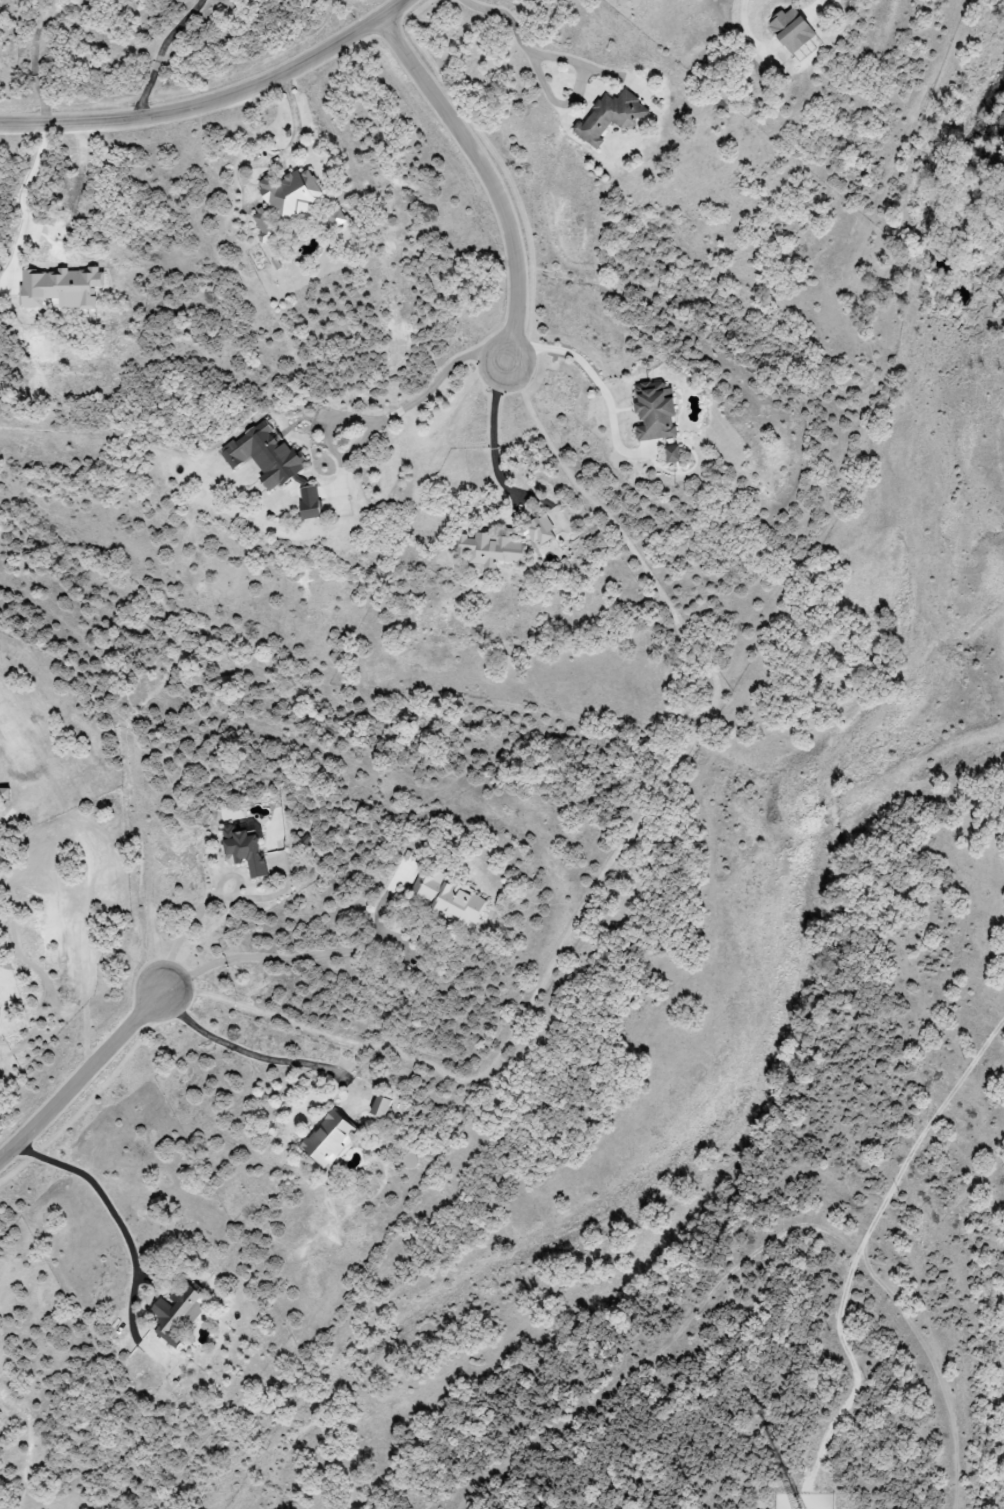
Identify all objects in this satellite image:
road: (815, 9)
road: (502, 18)
building: (790, 30)
road: (748, 35)
road: (160, 55)
road: (576, 96)
road: (214, 102)
building: (610, 117)
road: (286, 147)
road: (487, 178)
building: (284, 199)
road: (23, 205)
building: (60, 288)
road: (576, 352)
building: (654, 411)
road: (384, 421)
road: (495, 436)
building: (672, 454)
building: (265, 457)
building: (309, 502)
building: (503, 544)
building: (244, 846)
building: (448, 897)
road: (198, 909)
road: (317, 955)
road: (258, 1051)
road: (83, 1077)
building: (380, 1107)
building: (328, 1138)
road: (118, 1215)
building: (178, 1313)

